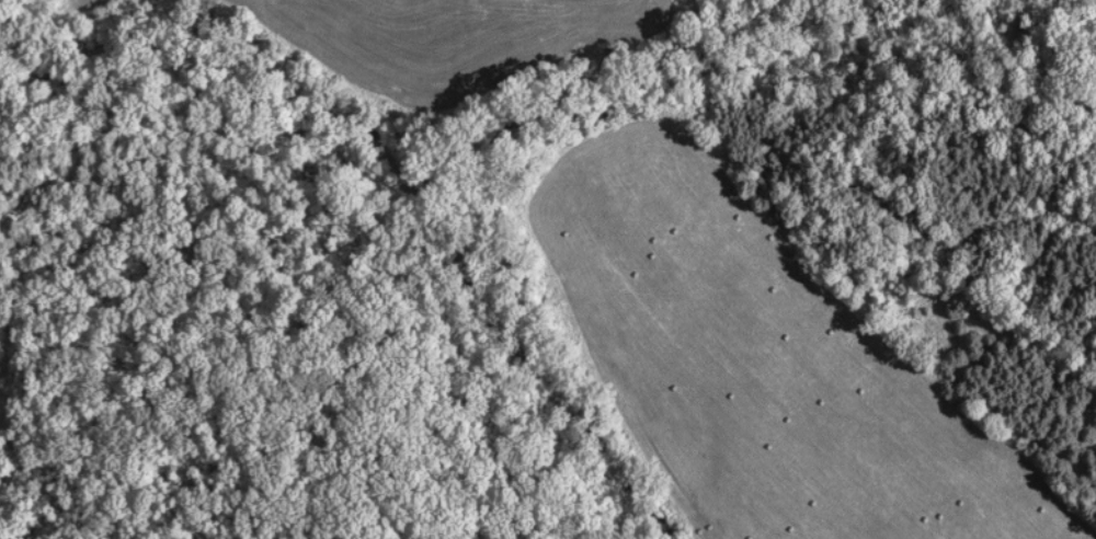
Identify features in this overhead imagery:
crop: (412, 41)

